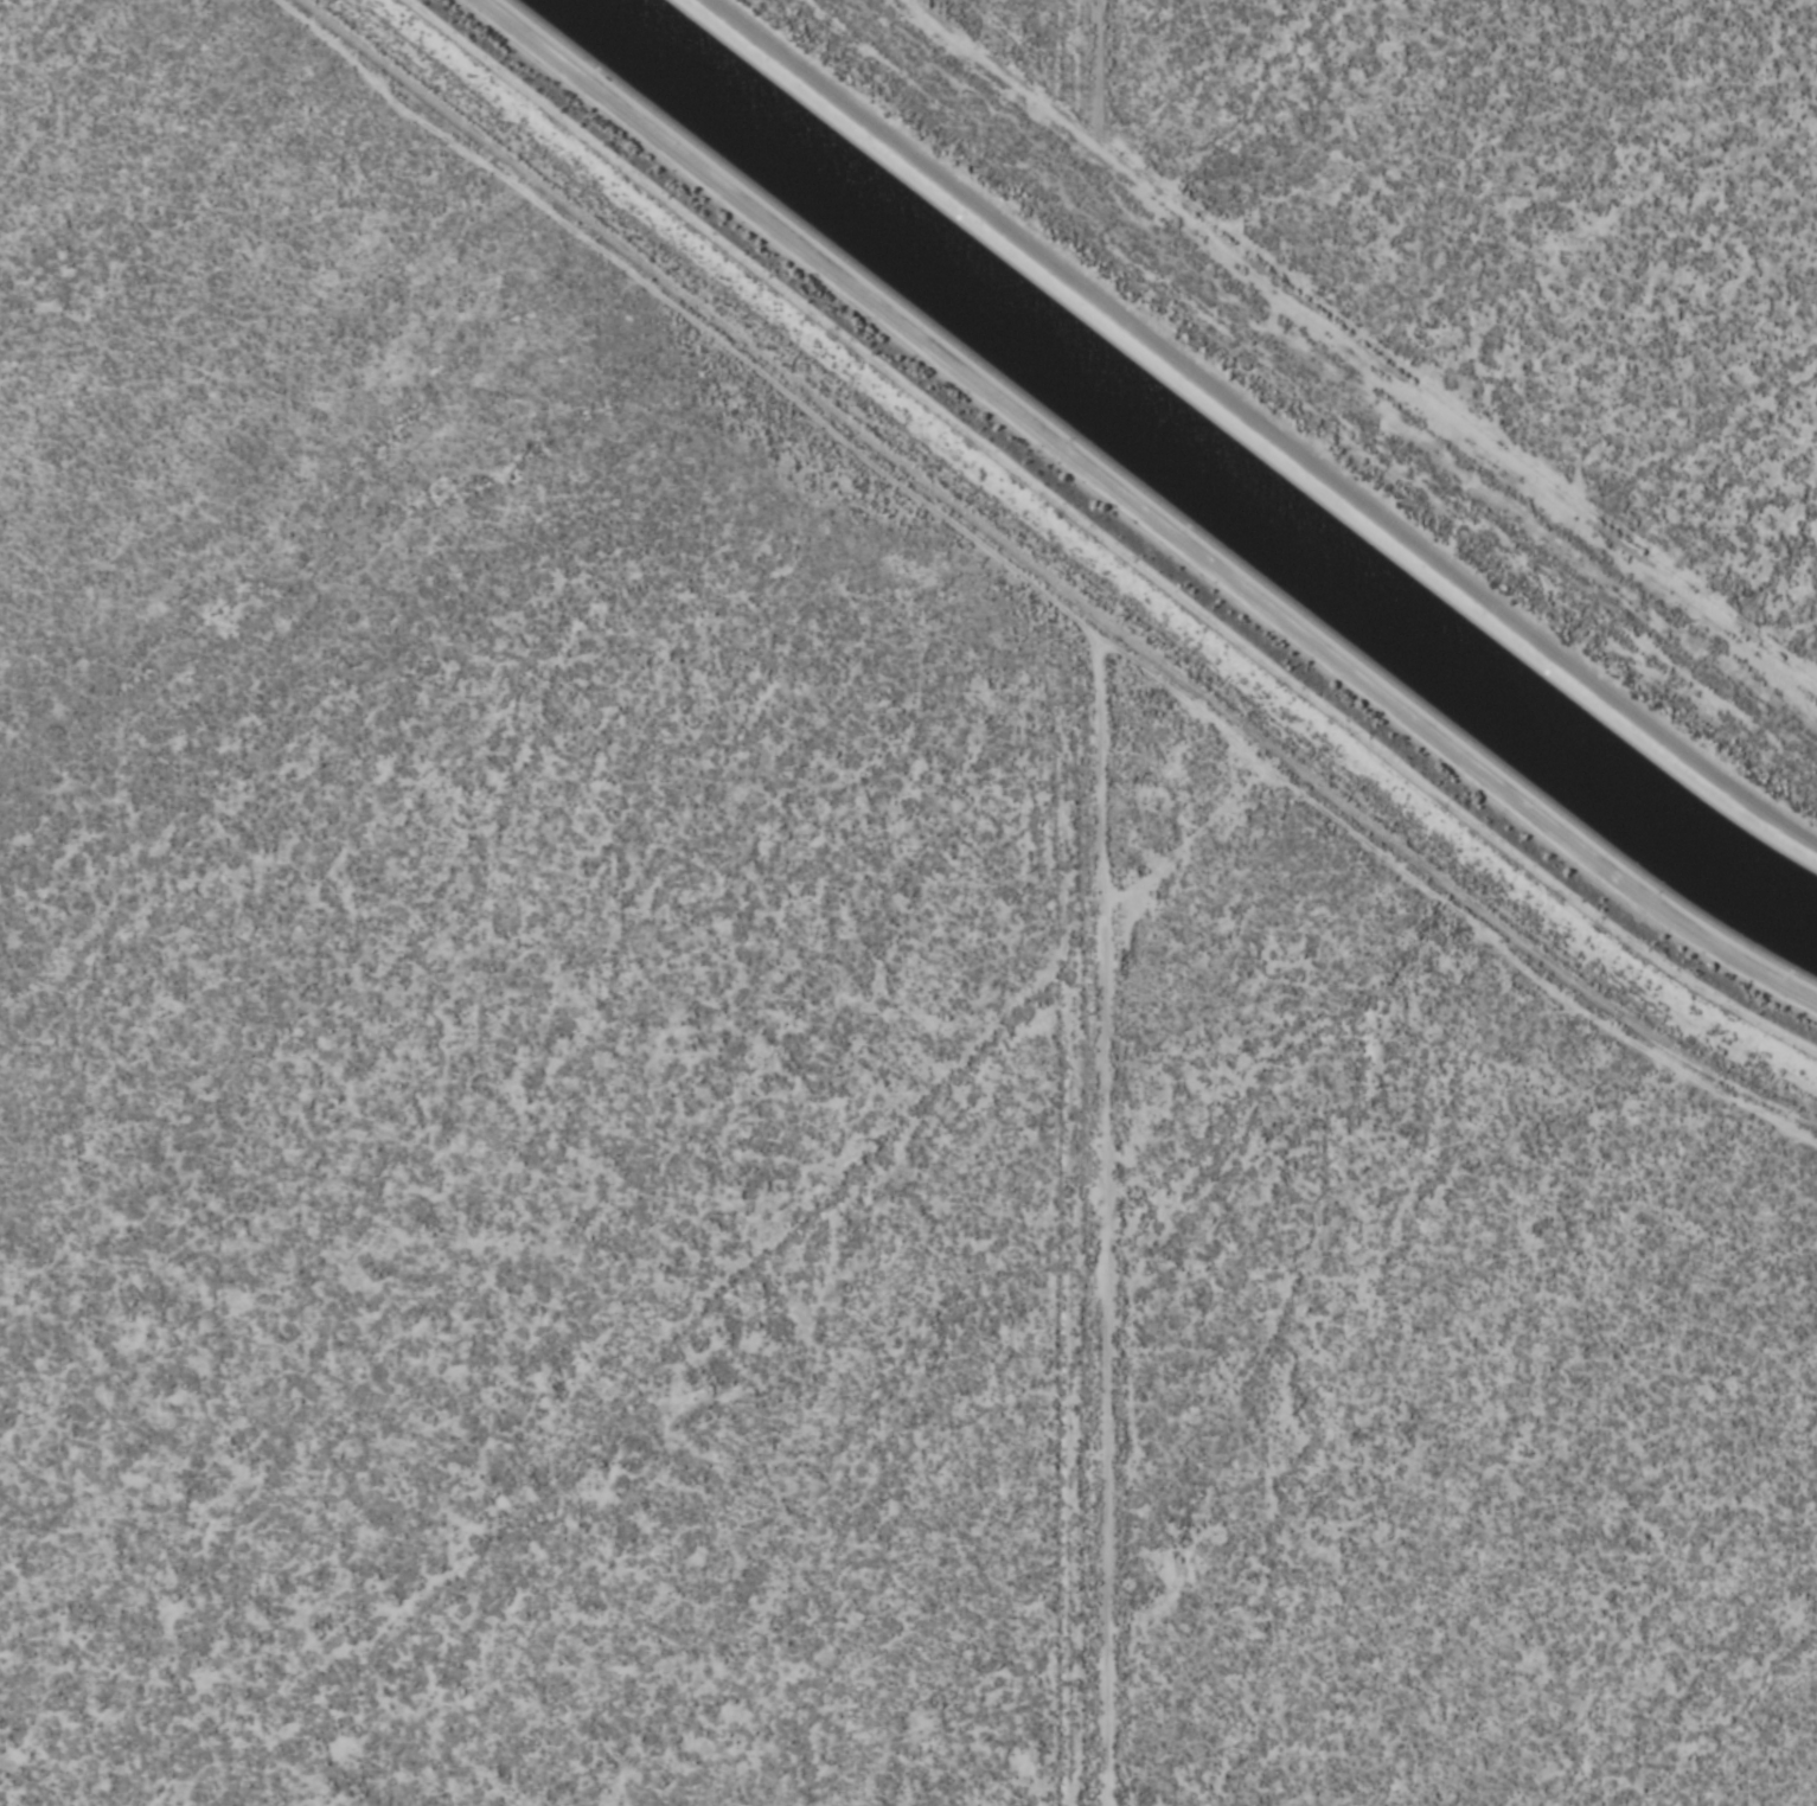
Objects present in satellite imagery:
road: (1075, 139)
crop: (1535, 218)
road: (1259, 427)
road: (1083, 724)
road: (1446, 840)

